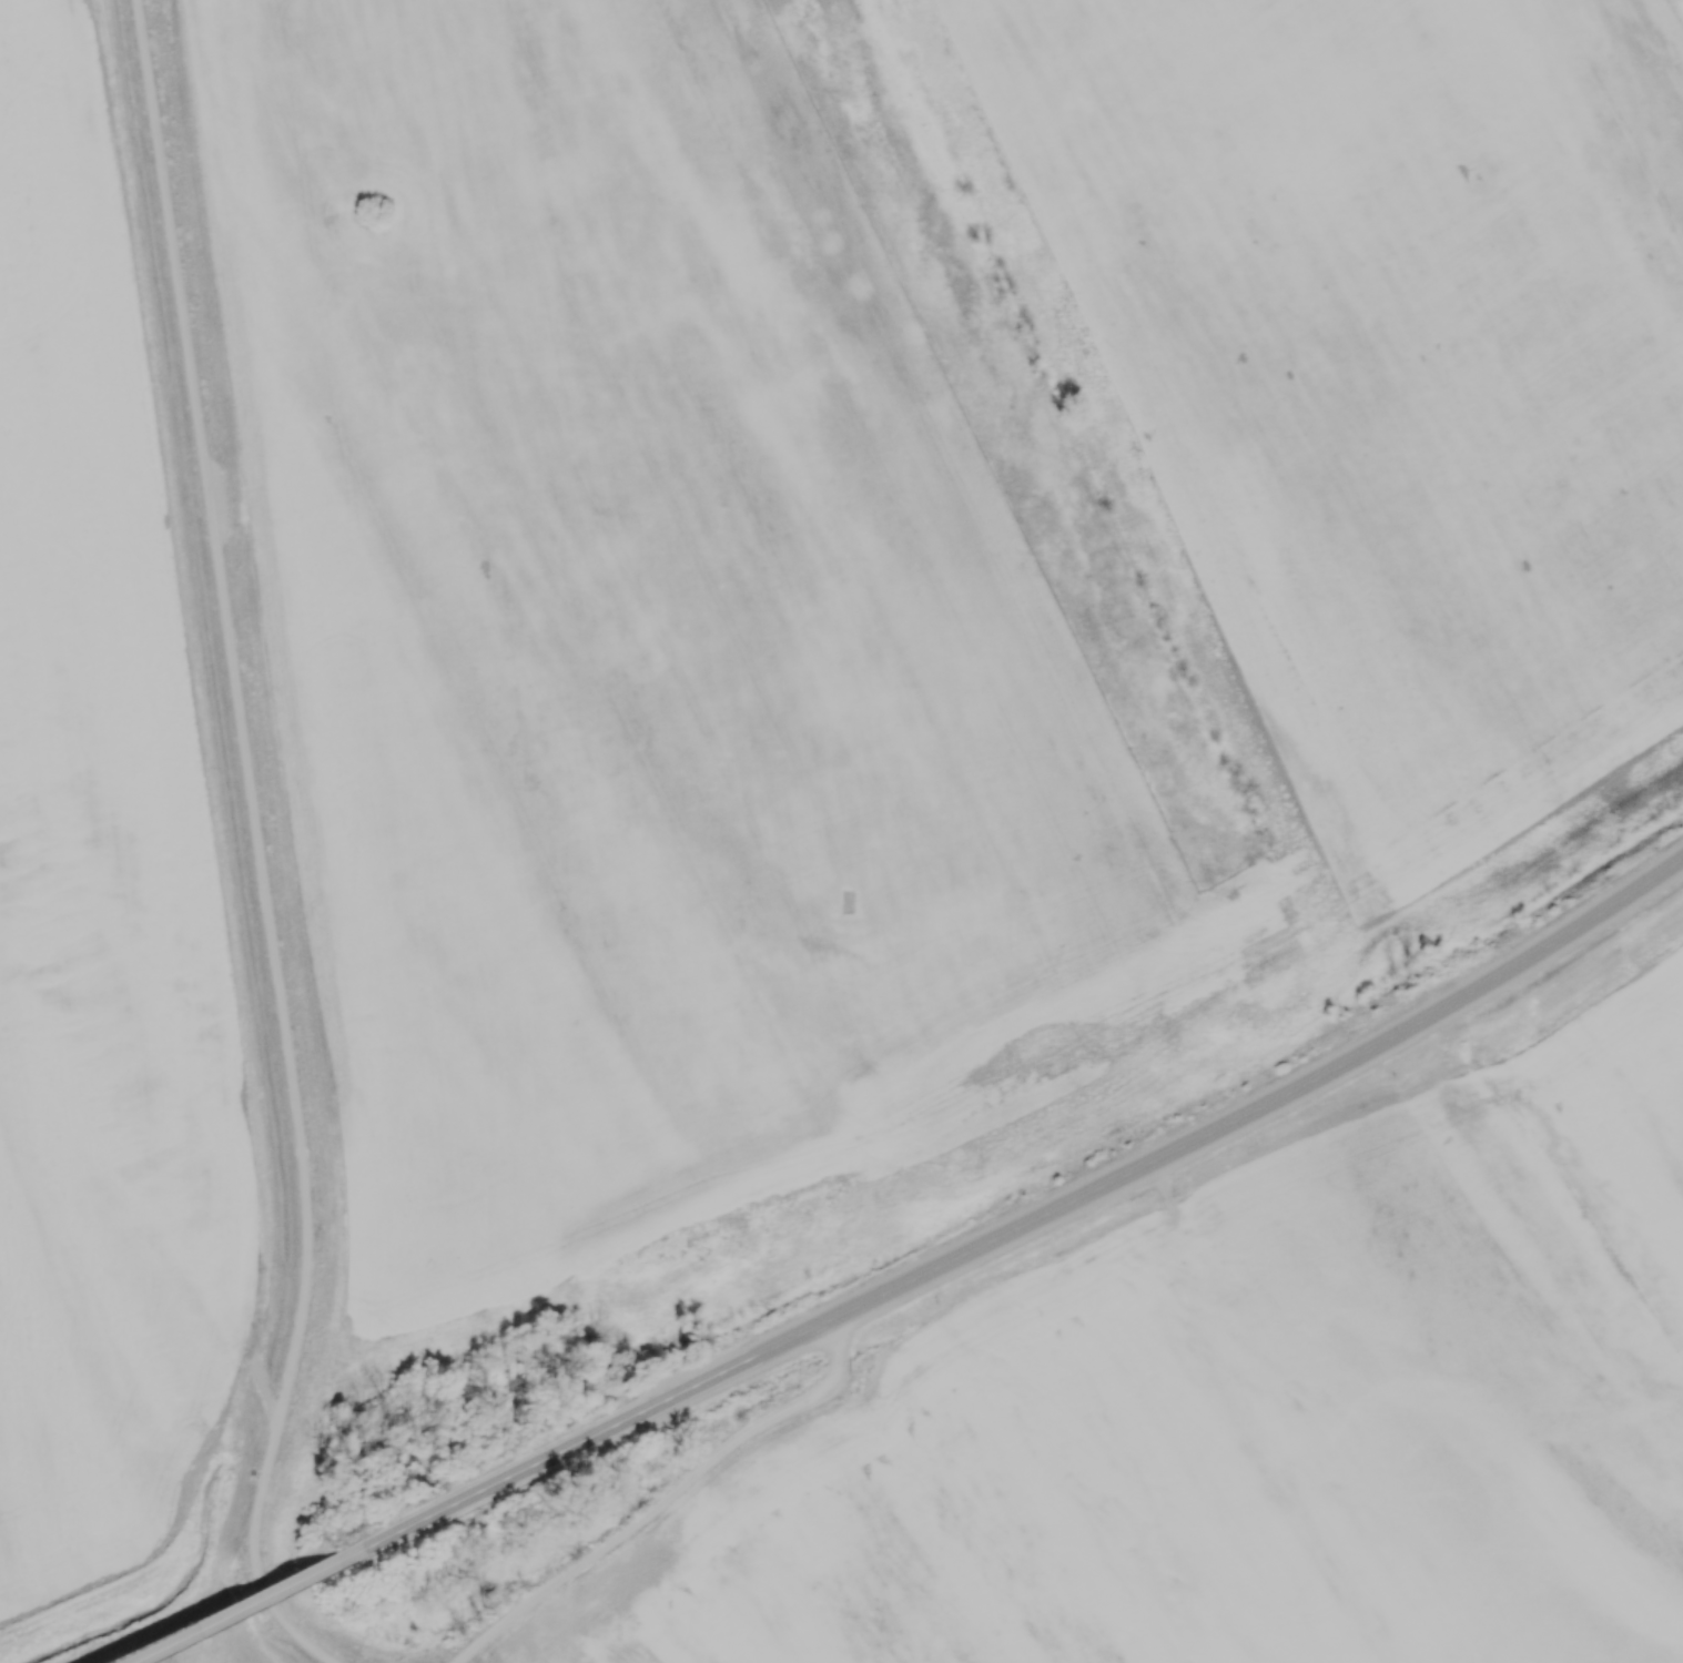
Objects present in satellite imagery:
crop: (1390, 367)
crop: (646, 635)
road: (253, 844)
crop: (100, 876)
road: (1263, 1106)
road: (581, 1439)
road: (660, 1498)
road: (232, 1610)

